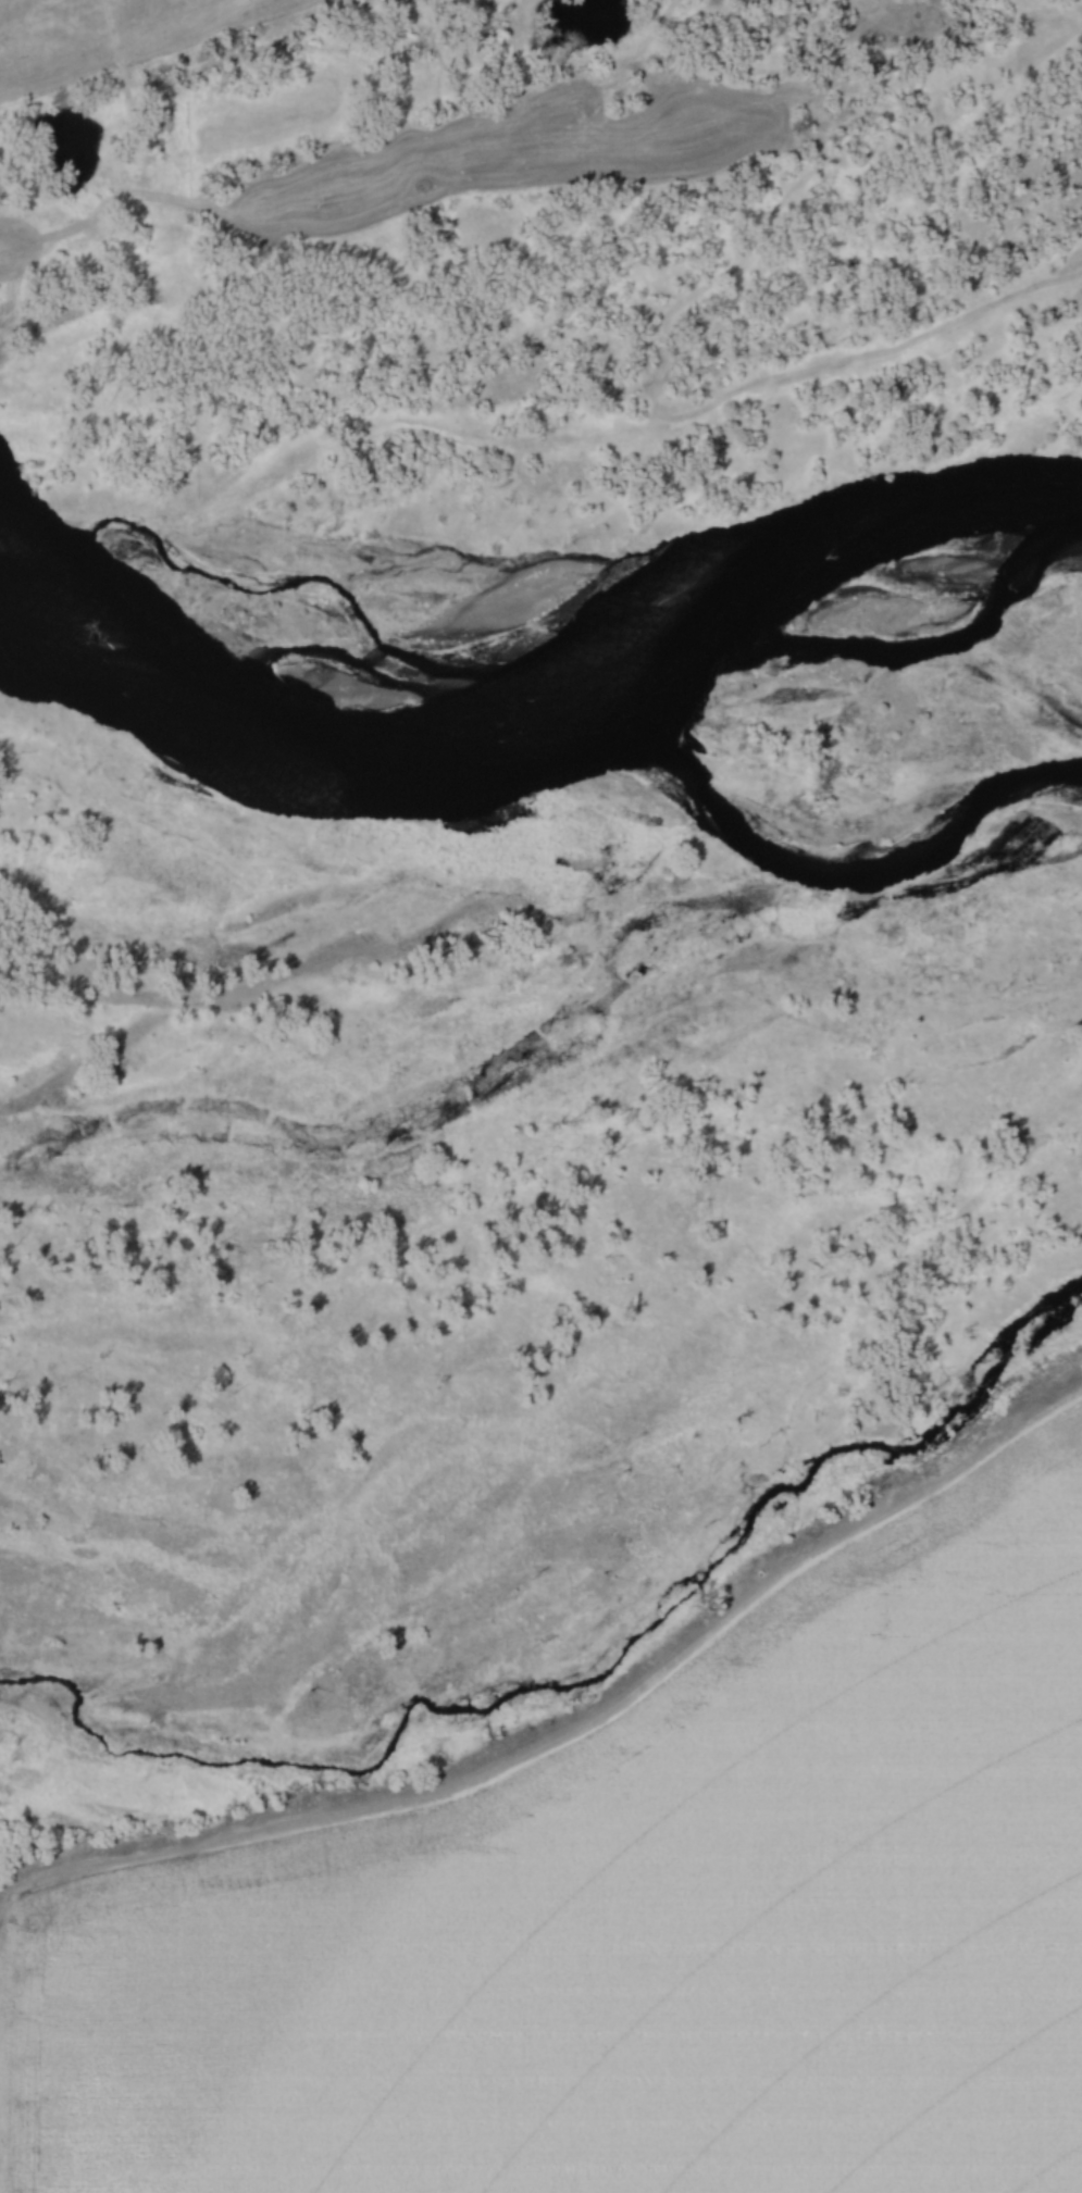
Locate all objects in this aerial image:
river: (531, 648)

